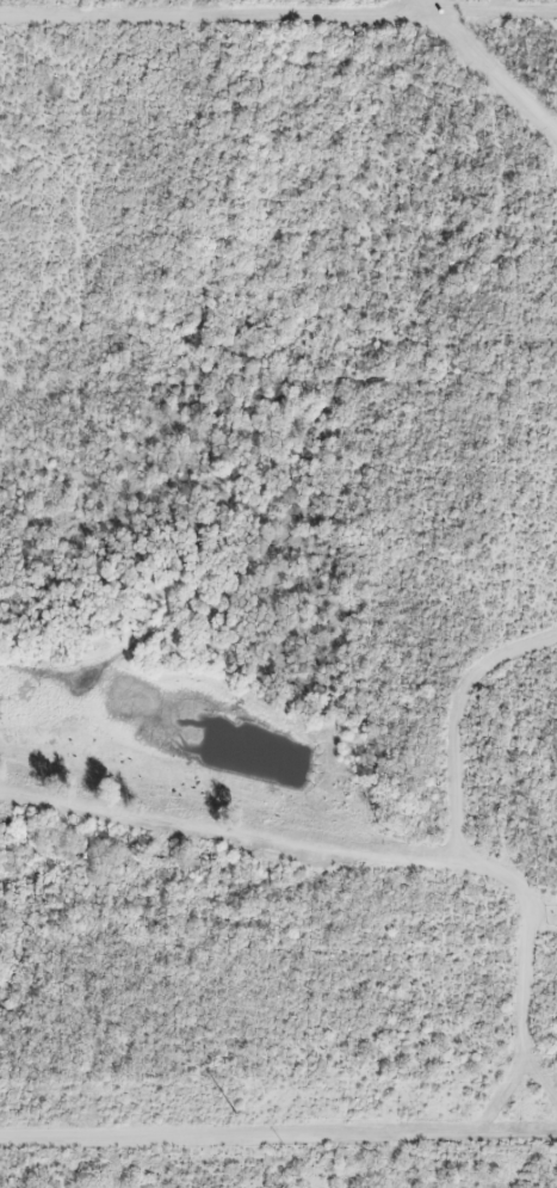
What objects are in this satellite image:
power tower: (237, 1115)

